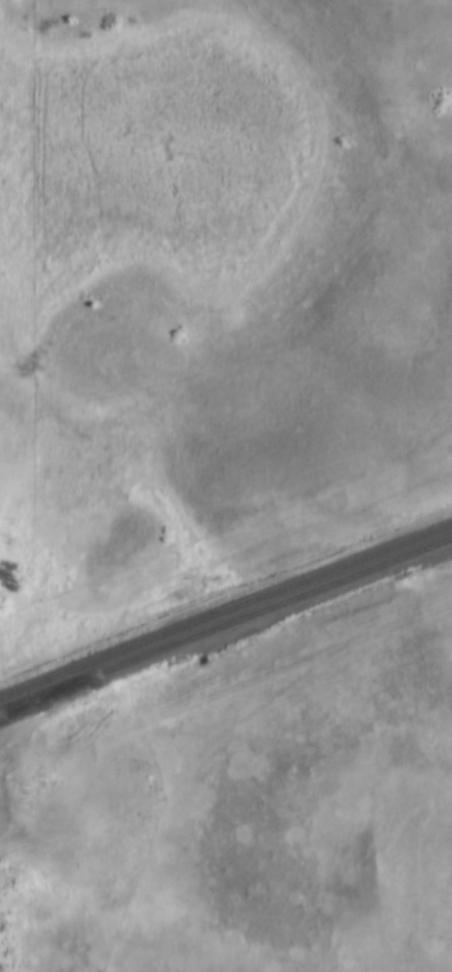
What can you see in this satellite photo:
railway: (226, 611)
railway: (226, 624)
railway: (45, 697)

